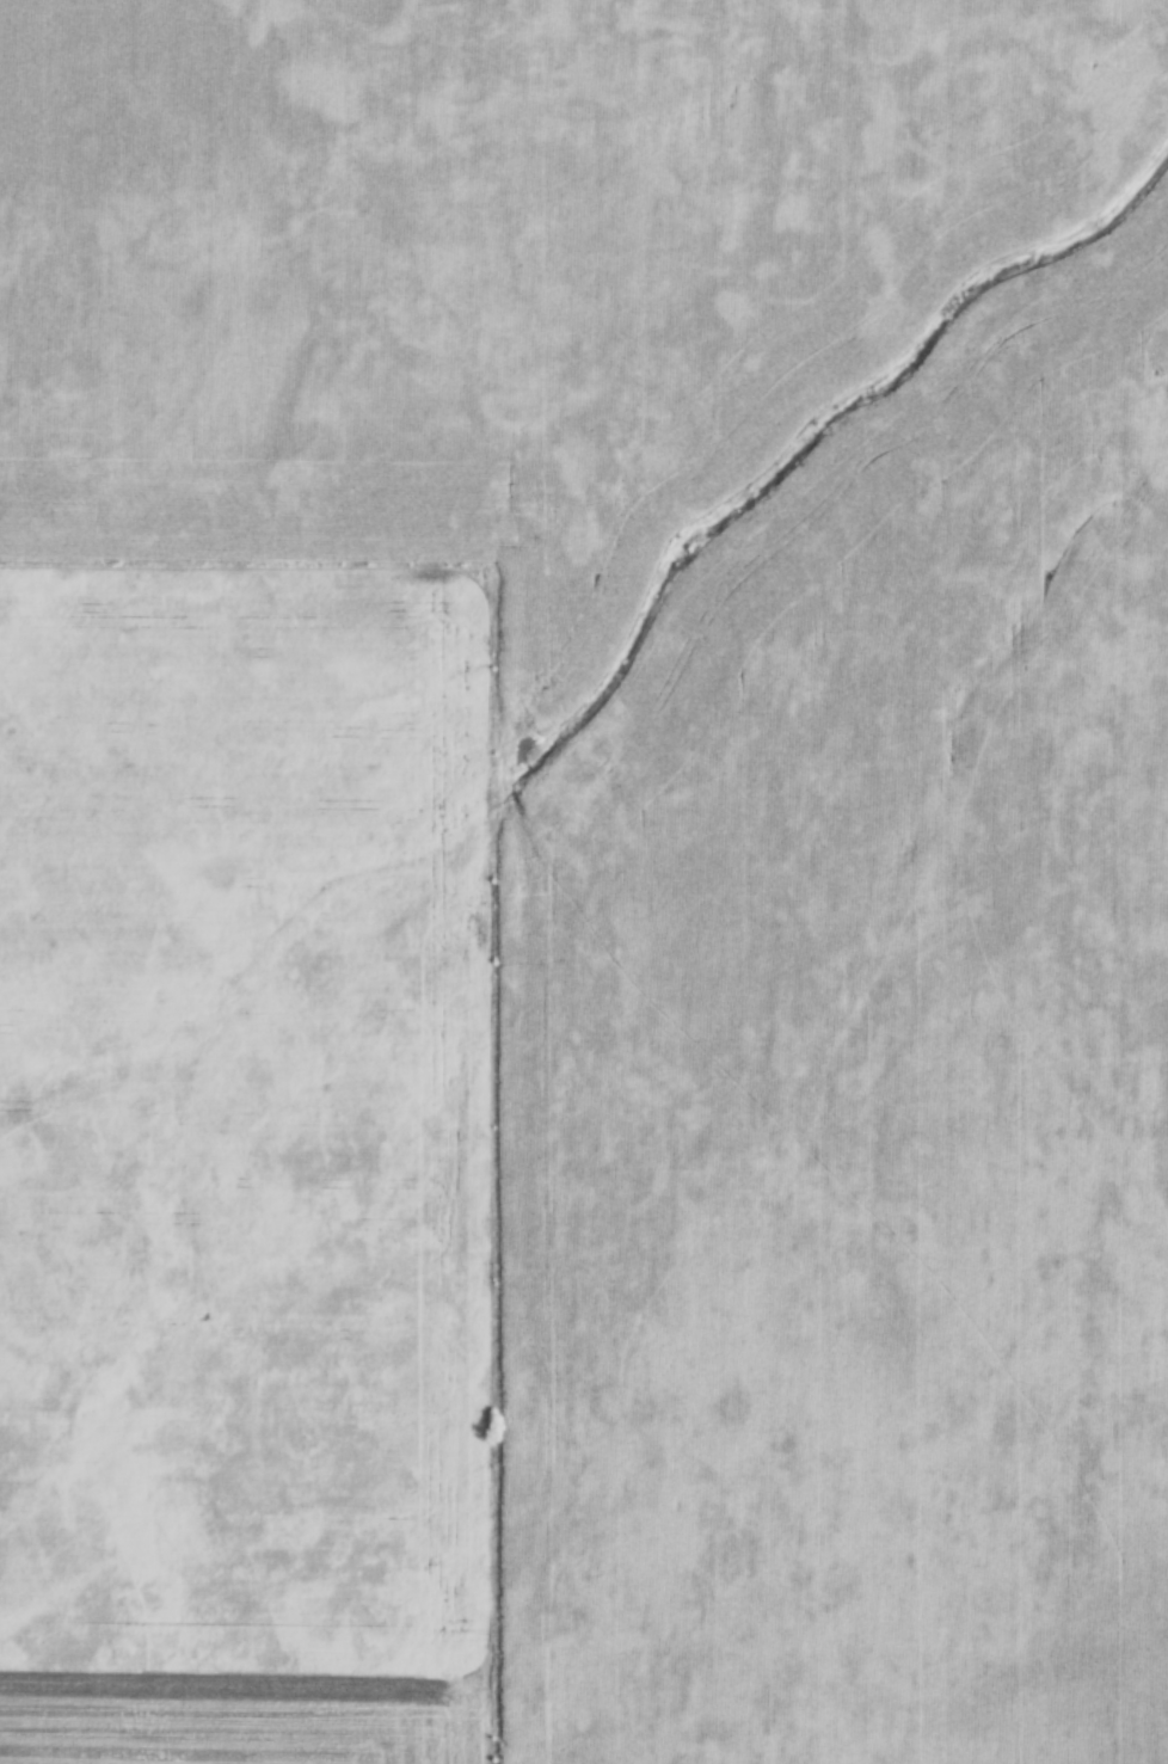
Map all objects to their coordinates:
crop: (264, 245)
crop: (246, 1126)
crop: (244, 1722)

